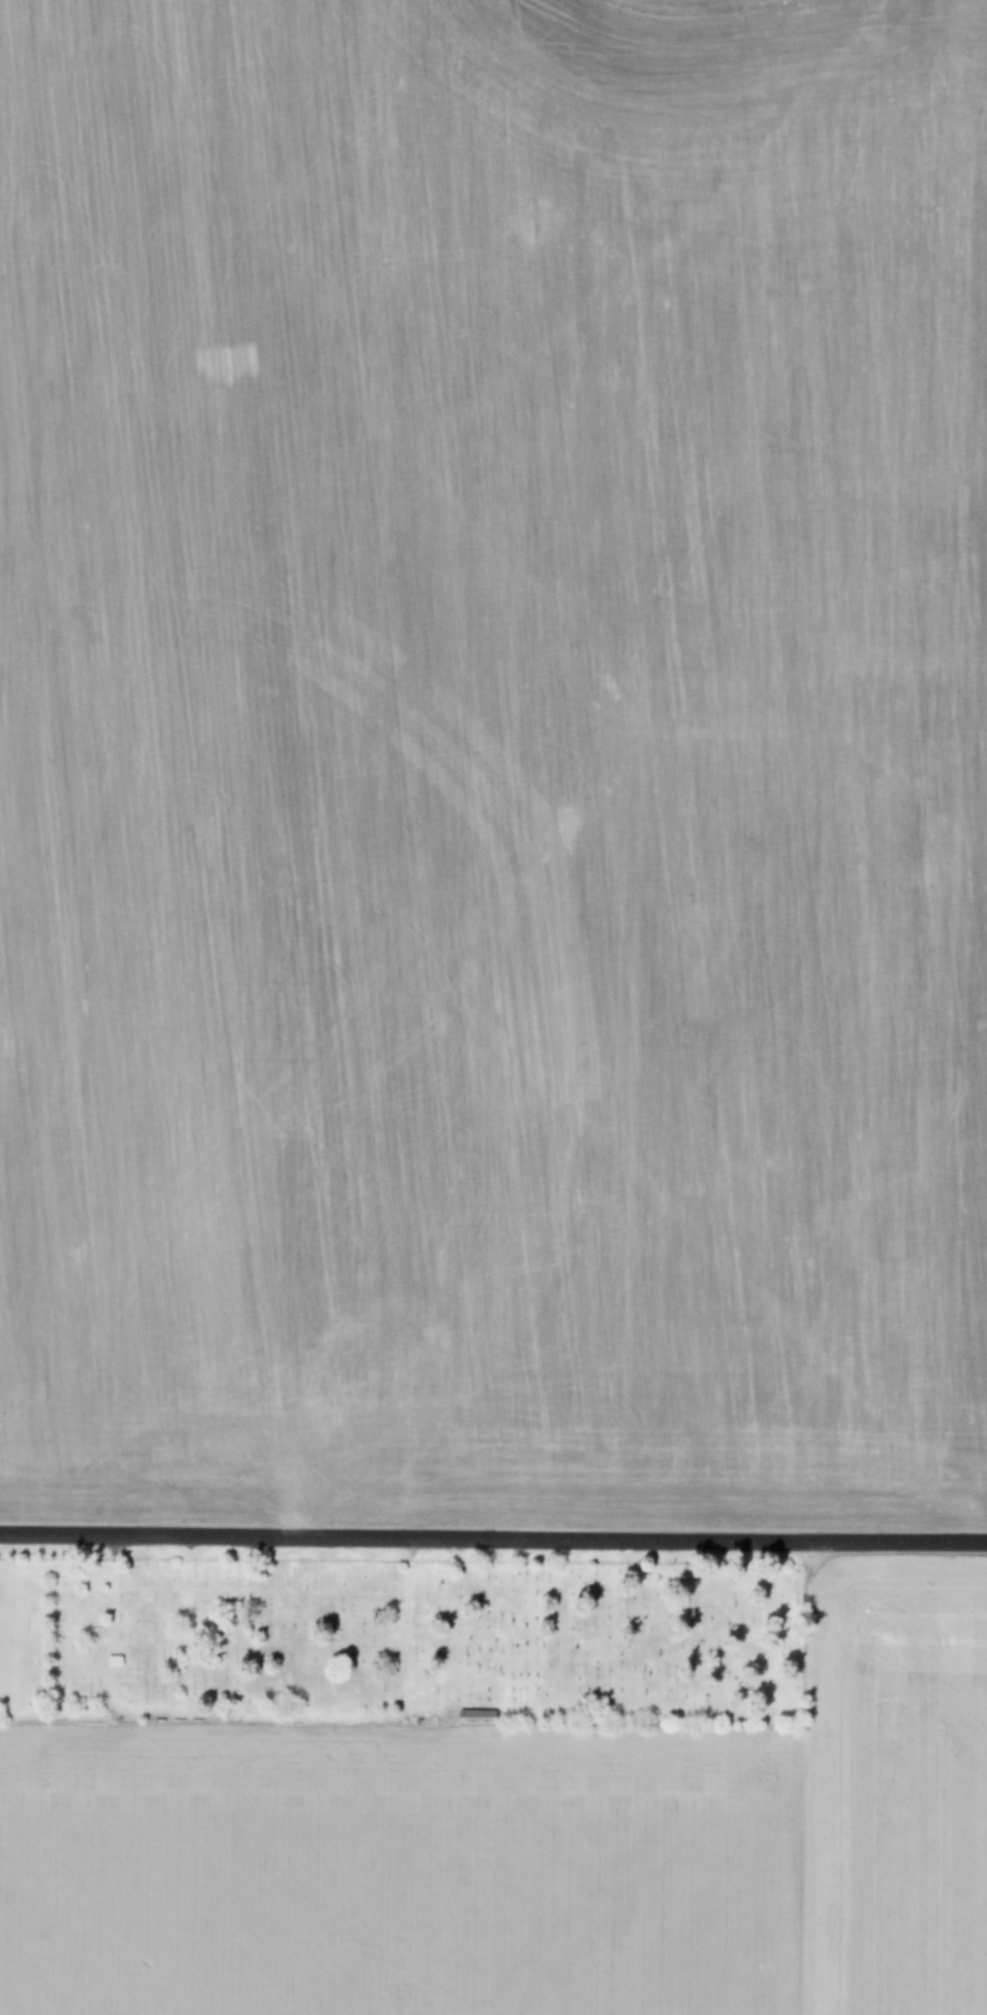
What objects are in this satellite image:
road: (493, 1537)

